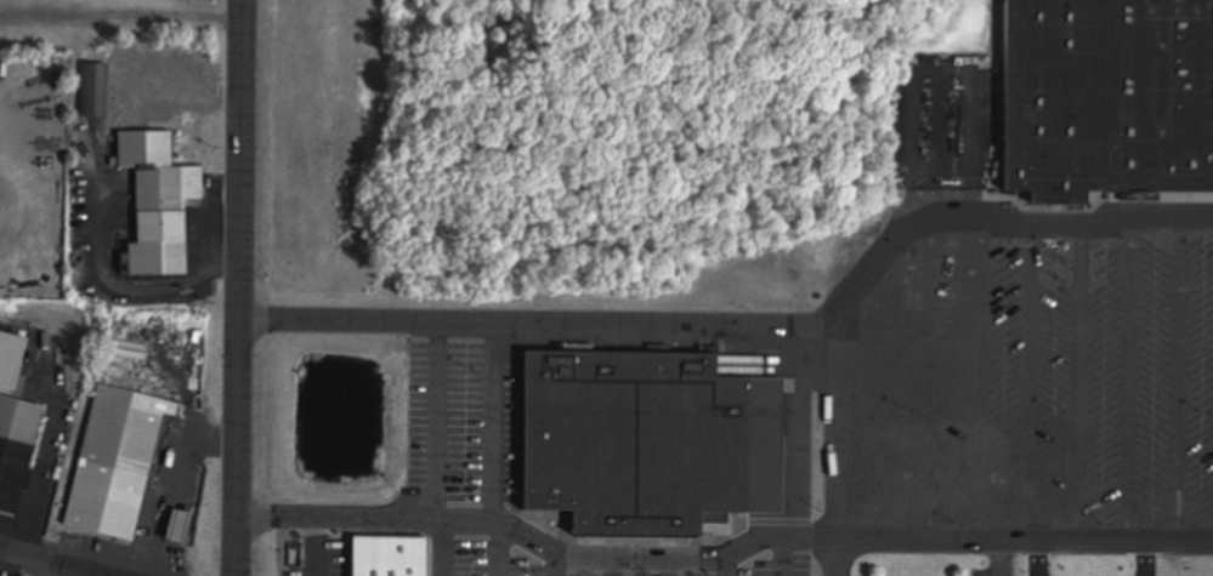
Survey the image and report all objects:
building: (93, 90)
building: (1155, 96)
building: (1047, 99)
building: (153, 203)
road: (897, 241)
road: (240, 287)
road: (538, 323)
road: (1180, 382)
road: (934, 383)
road: (982, 383)
road: (1132, 383)
road: (1031, 384)
road: (1082, 384)
parking lot: (1038, 387)
road: (879, 403)
road: (437, 421)
road: (494, 423)
parking lot: (459, 426)
building: (16, 432)
building: (608, 444)
building: (737, 447)
building: (114, 463)
road: (172, 489)
building: (174, 529)
road: (1007, 546)
road: (538, 547)
road: (446, 548)
road: (500, 551)
parking lot: (483, 554)
road: (783, 558)
road: (1002, 560)
road: (52, 561)
road: (557, 566)
road: (613, 566)
road: (670, 568)
road: (726, 568)
parking lot: (981, 572)

